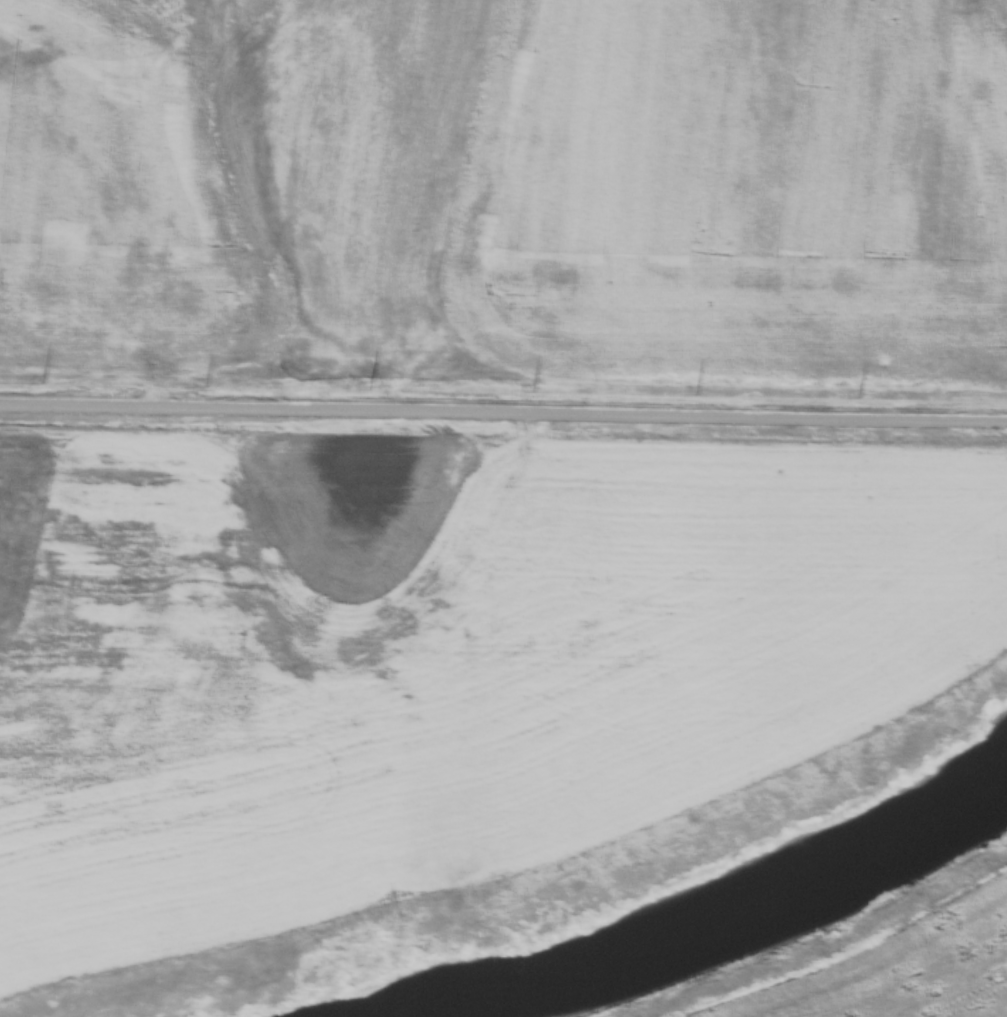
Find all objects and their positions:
road: (503, 414)
river: (722, 921)

